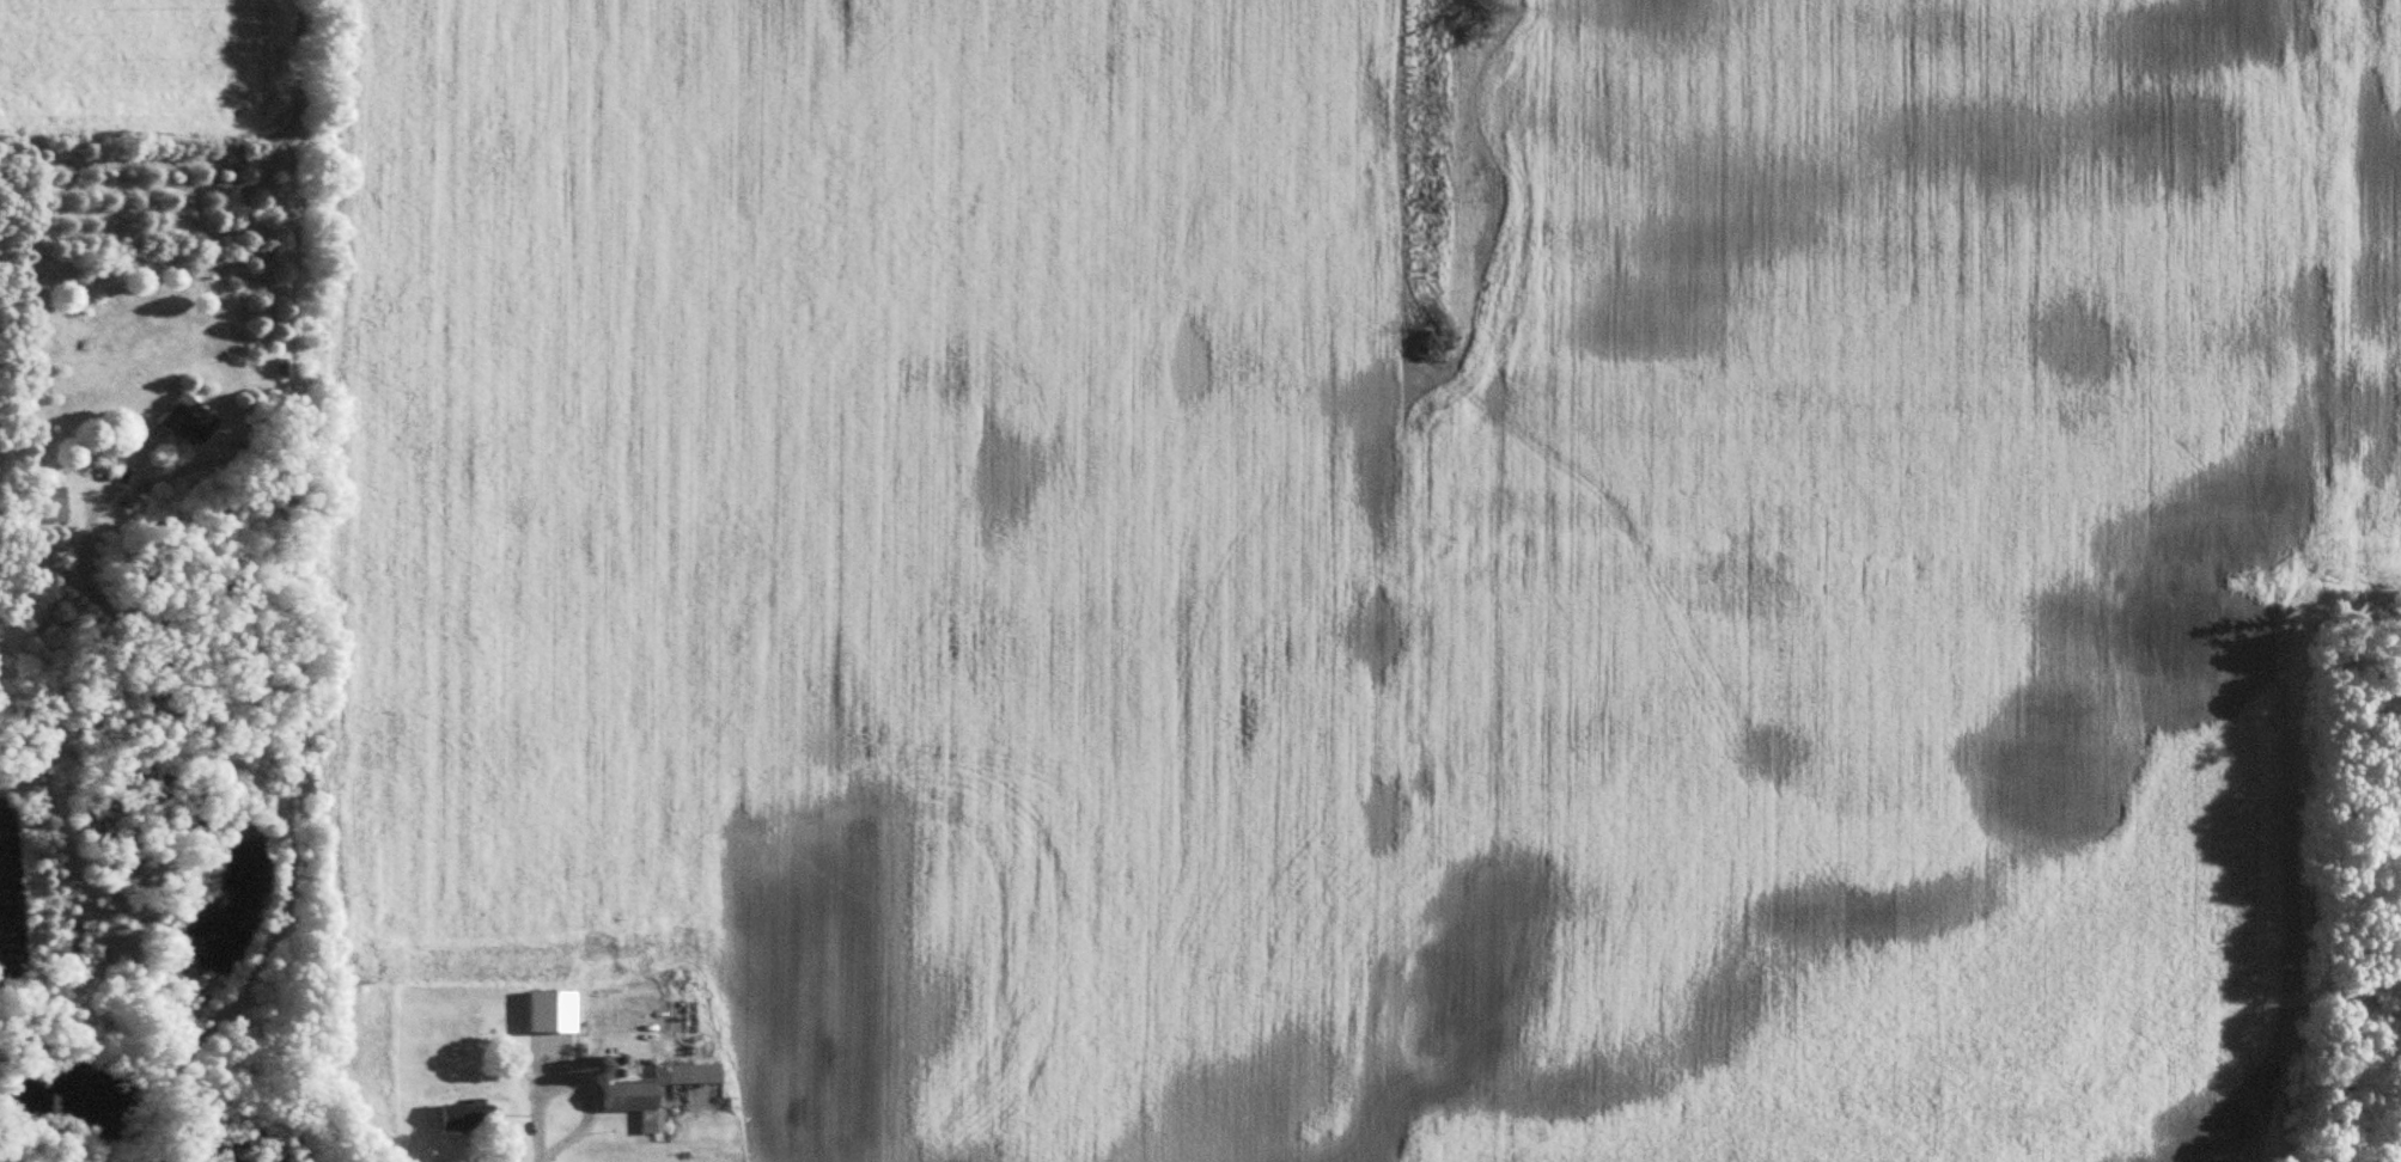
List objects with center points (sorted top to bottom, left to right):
building: (193, 418)
building: (57, 503)
road: (233, 759)
building: (554, 1010)
road: (571, 1080)
building: (652, 1088)
building: (471, 1117)
road: (152, 1129)

